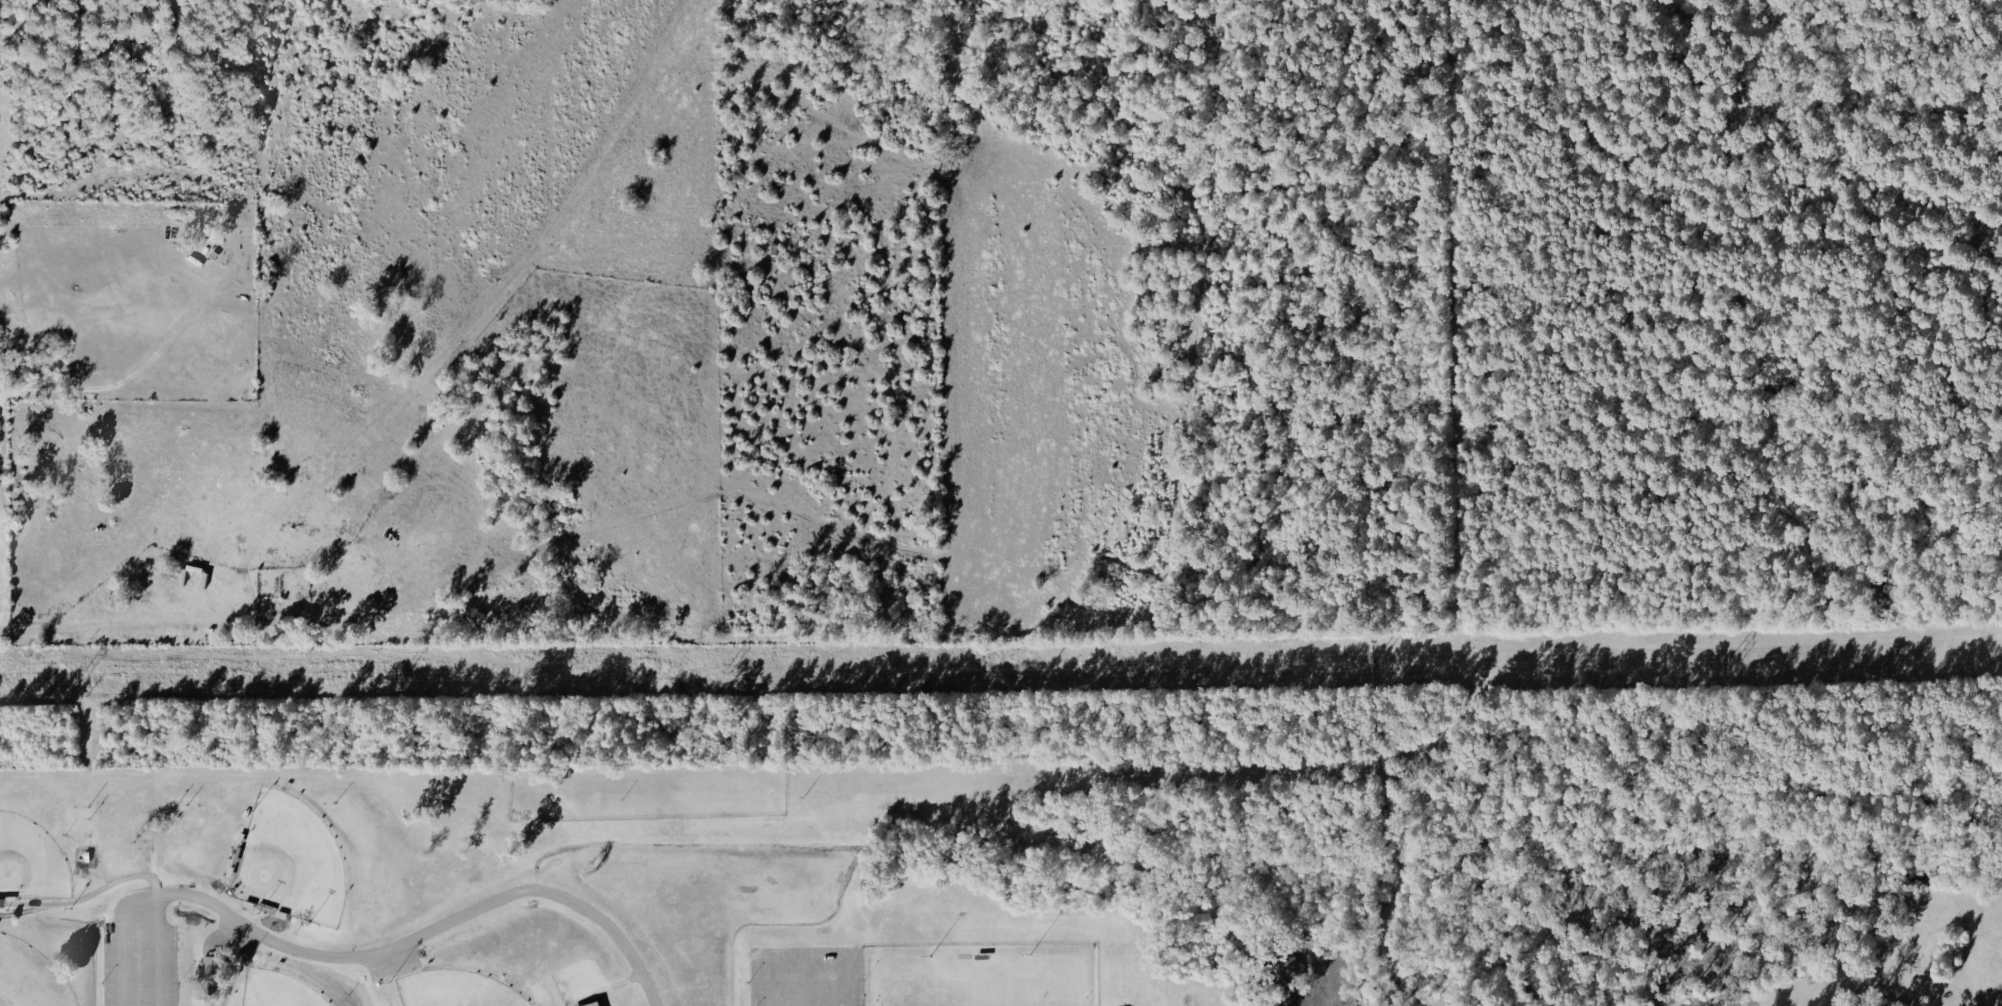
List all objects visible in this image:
road: (90, 632)
power tower: (1727, 659)
power tower: (1372, 666)
power tower: (1052, 672)
power tower: (718, 676)
power tower: (78, 678)
power tower: (390, 678)
road: (157, 950)
road: (364, 956)
building: (213, 964)
road: (804, 966)
road: (805, 986)
building: (594, 1004)

